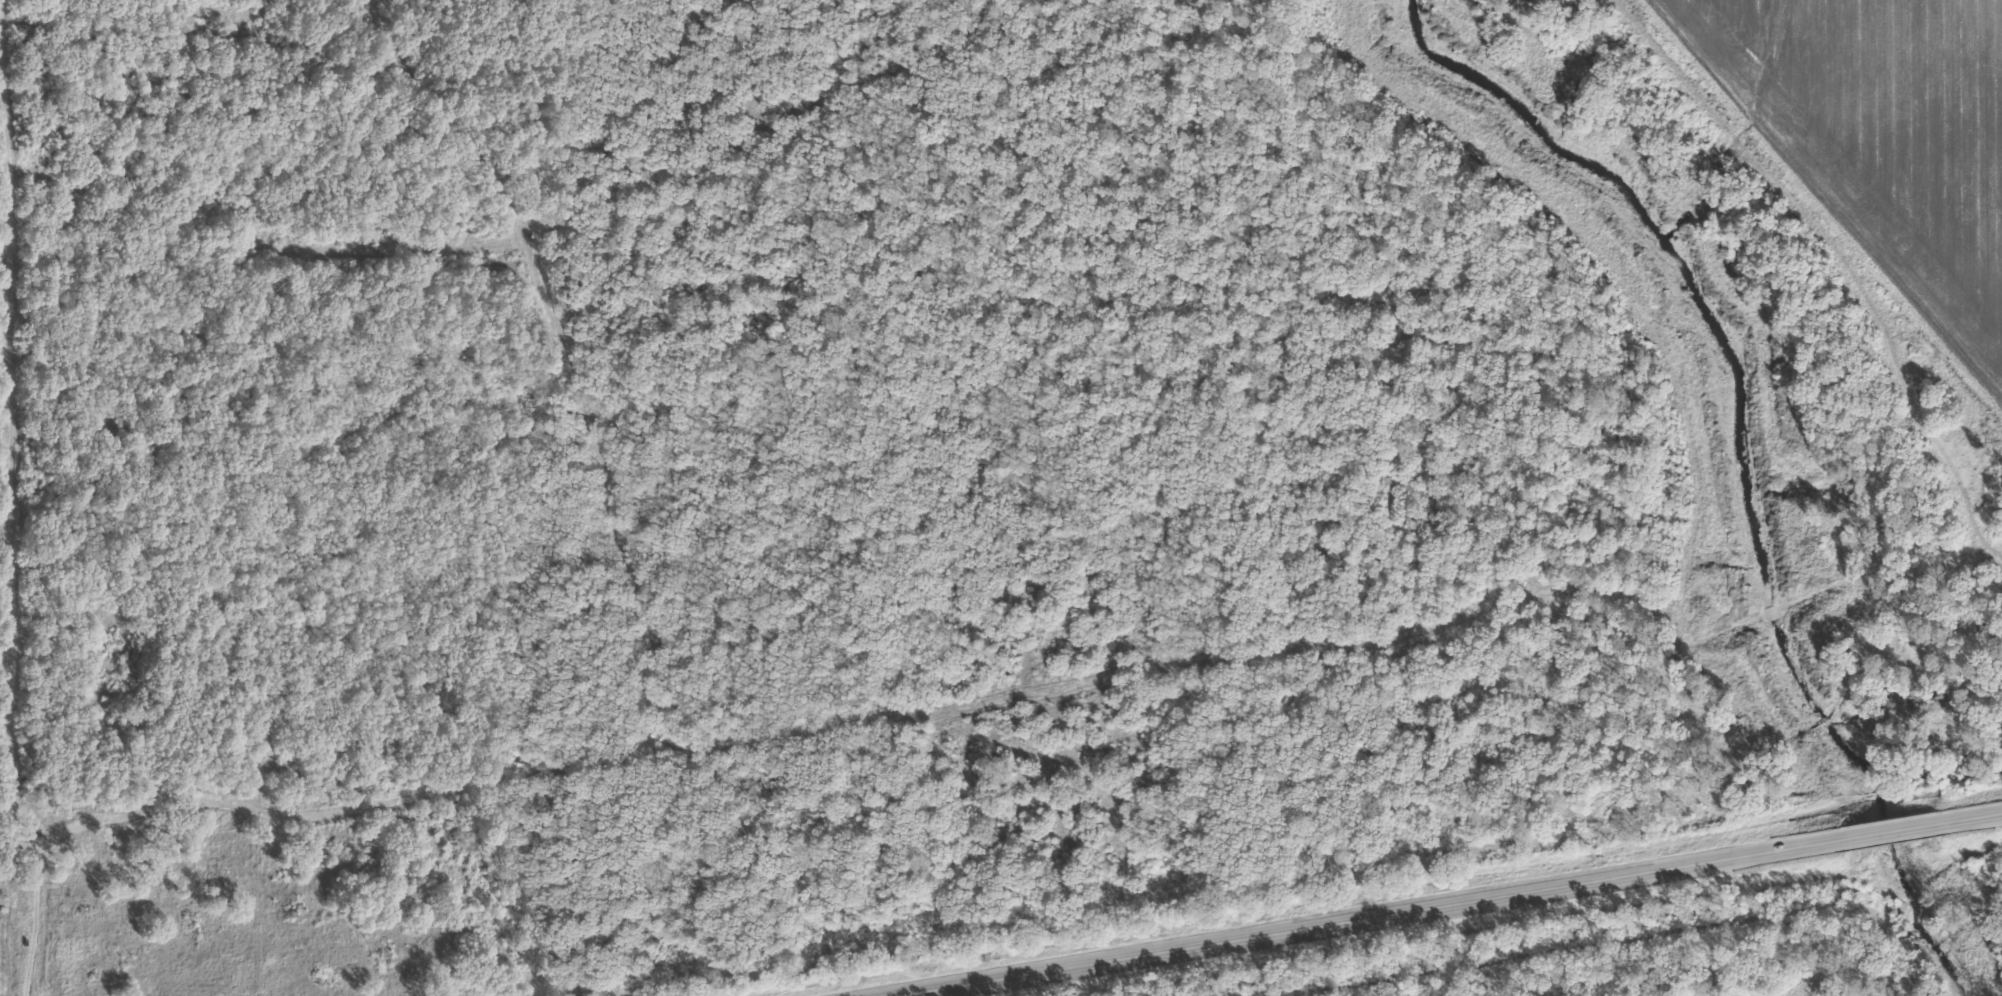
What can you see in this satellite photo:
road: (1453, 902)
railway: (1624, 933)

